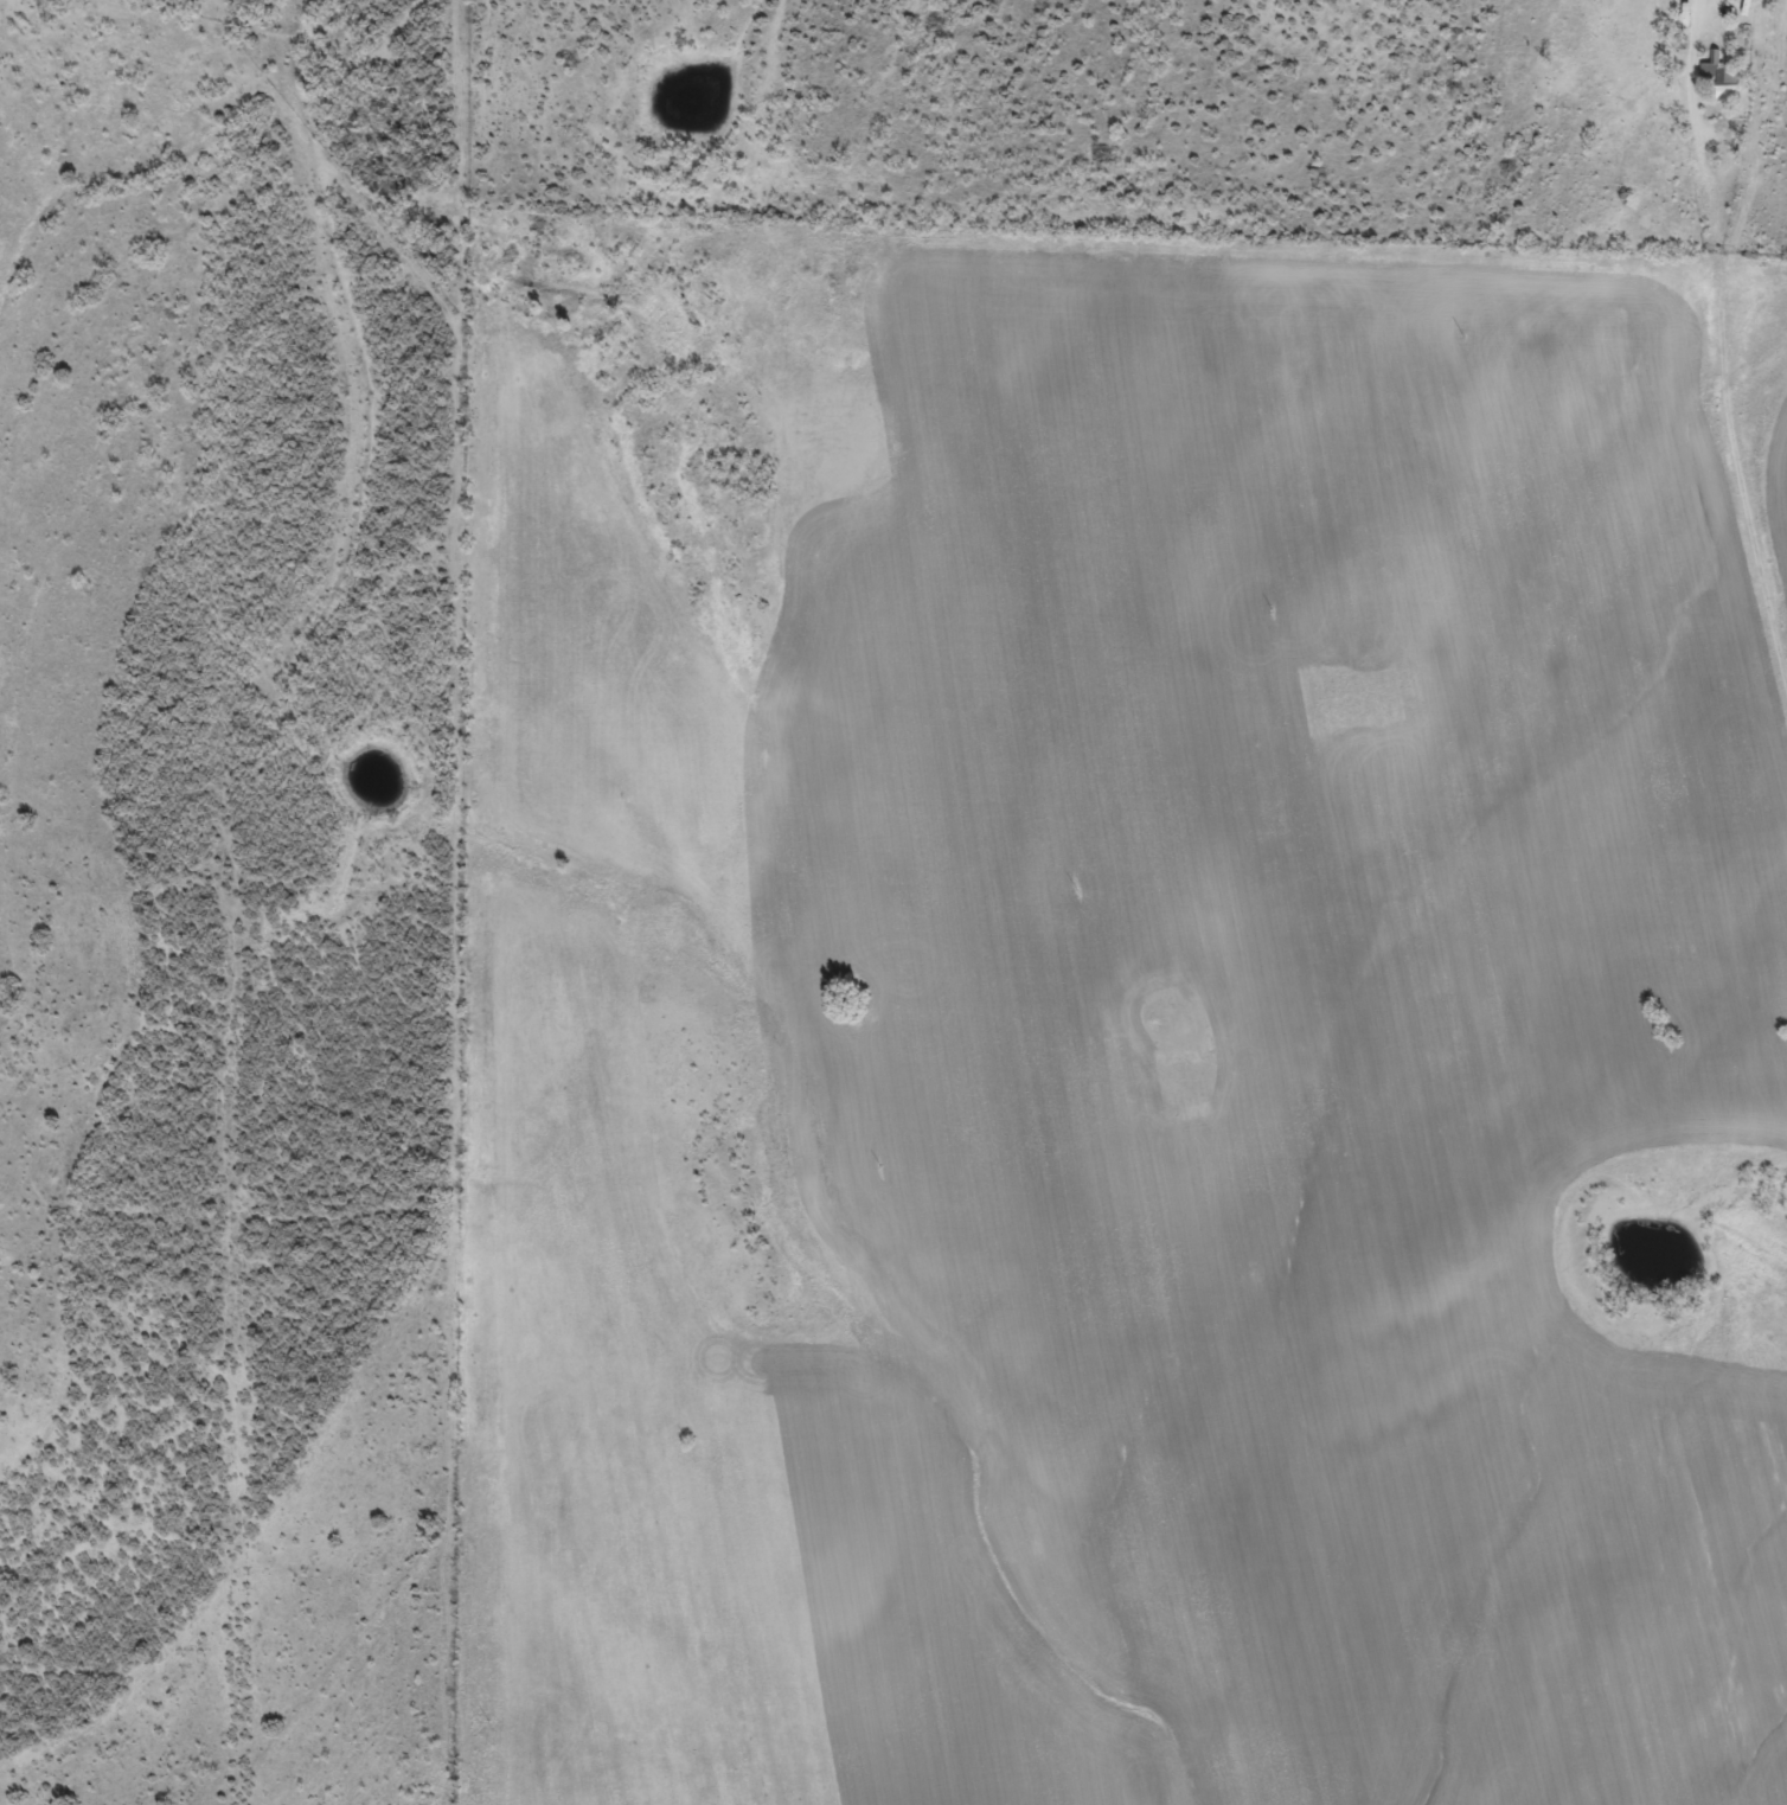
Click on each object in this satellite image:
road: (282, 102)
road: (1717, 308)

